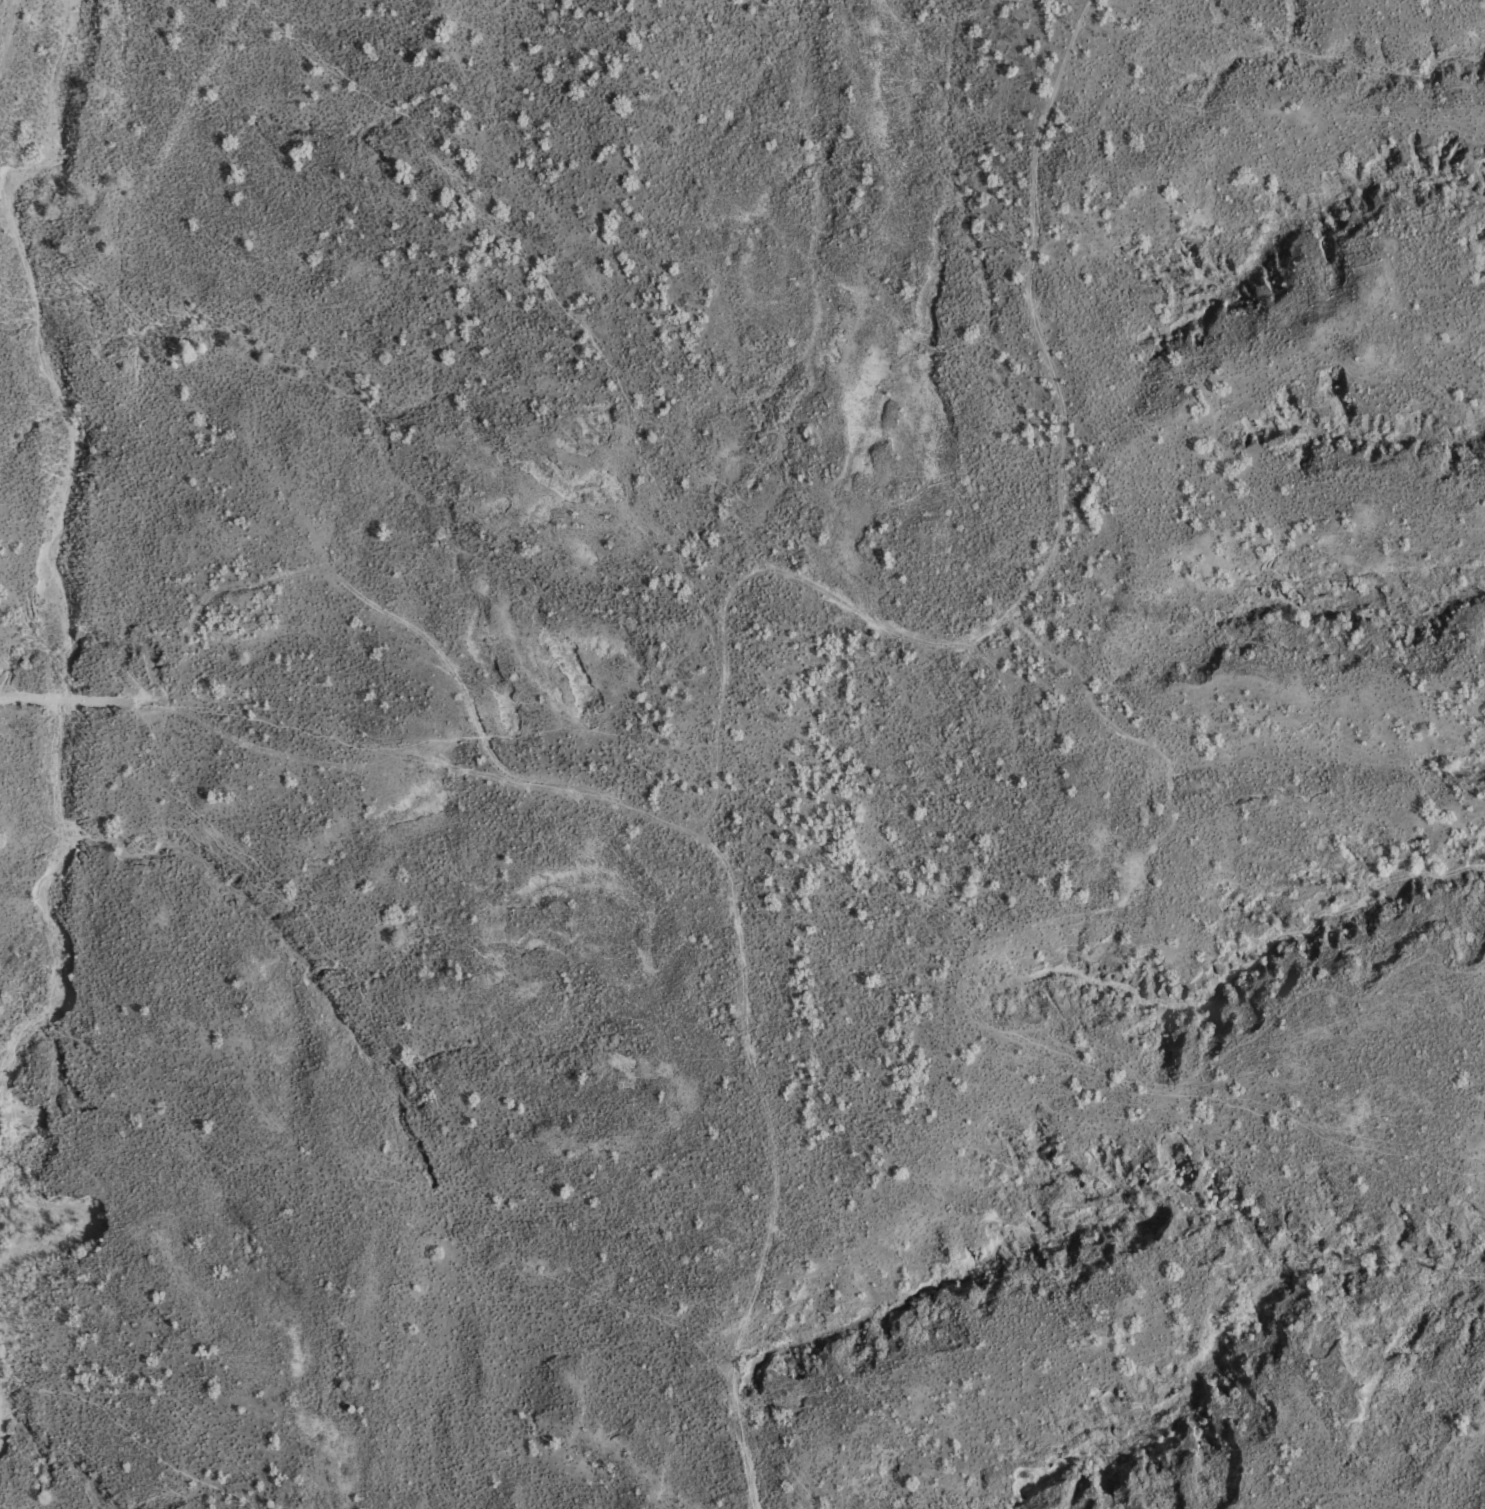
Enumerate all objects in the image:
road: (745, 614)

